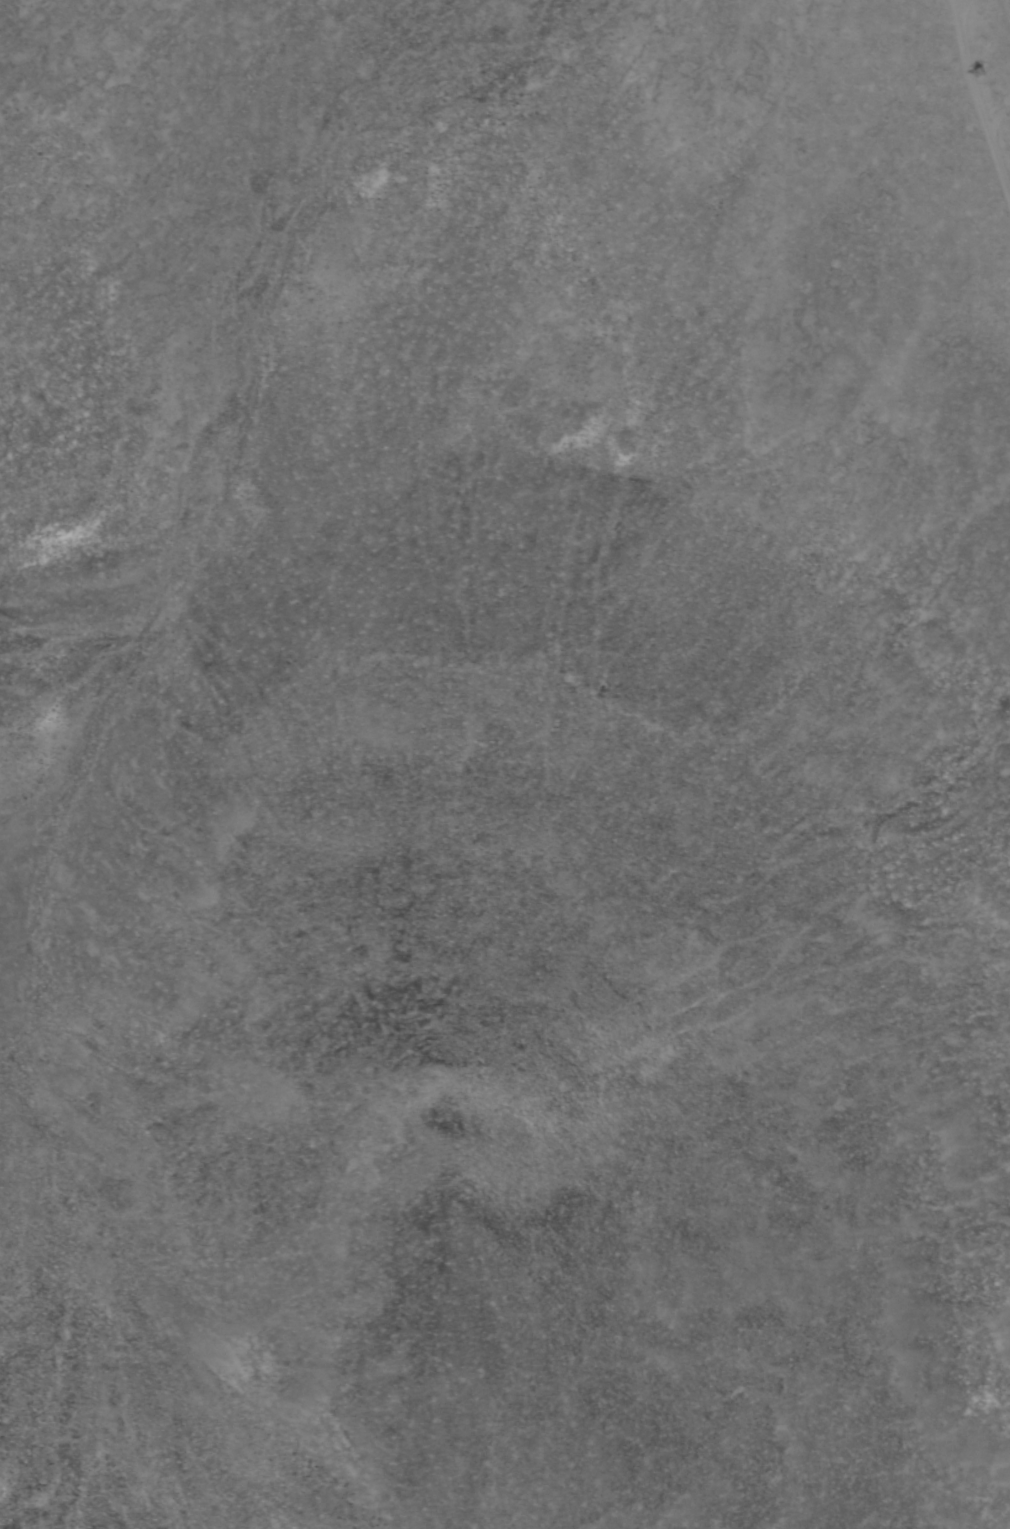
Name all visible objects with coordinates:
power tower: (986, 73)

